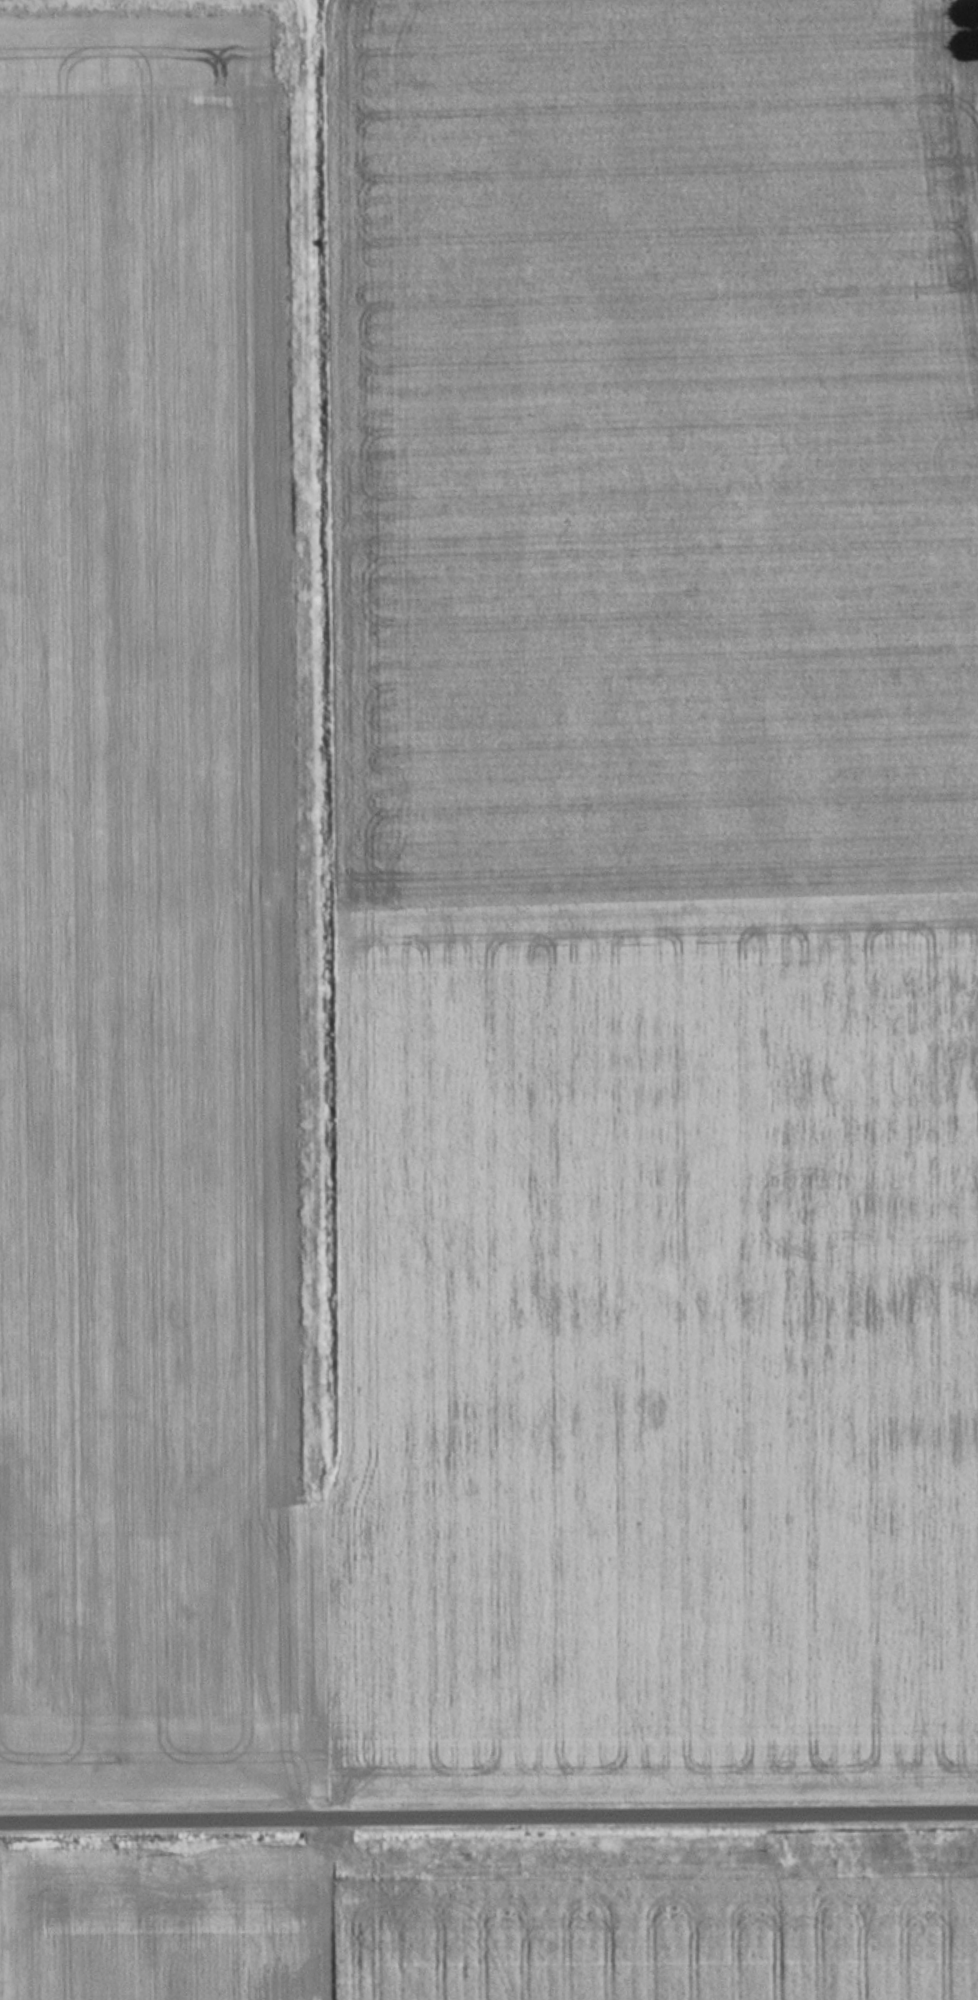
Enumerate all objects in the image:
road: (488, 1821)

